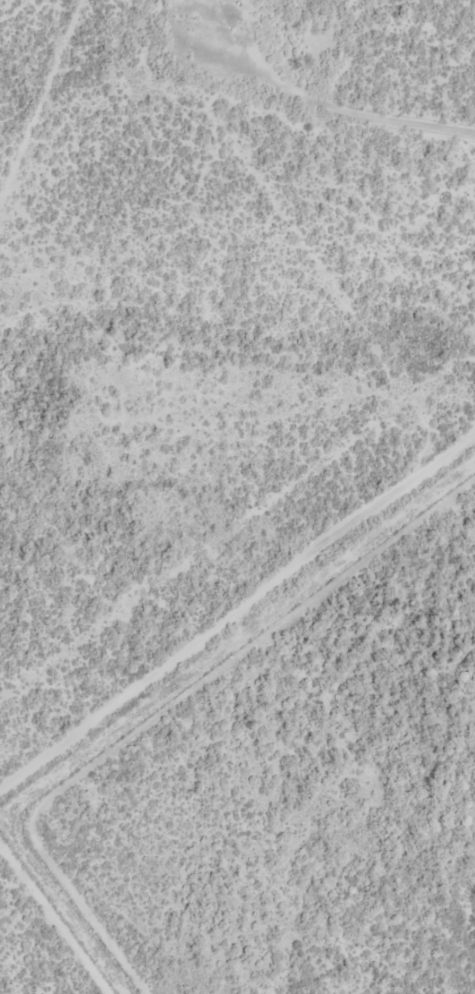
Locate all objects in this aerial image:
road: (49, 129)
road: (237, 608)

